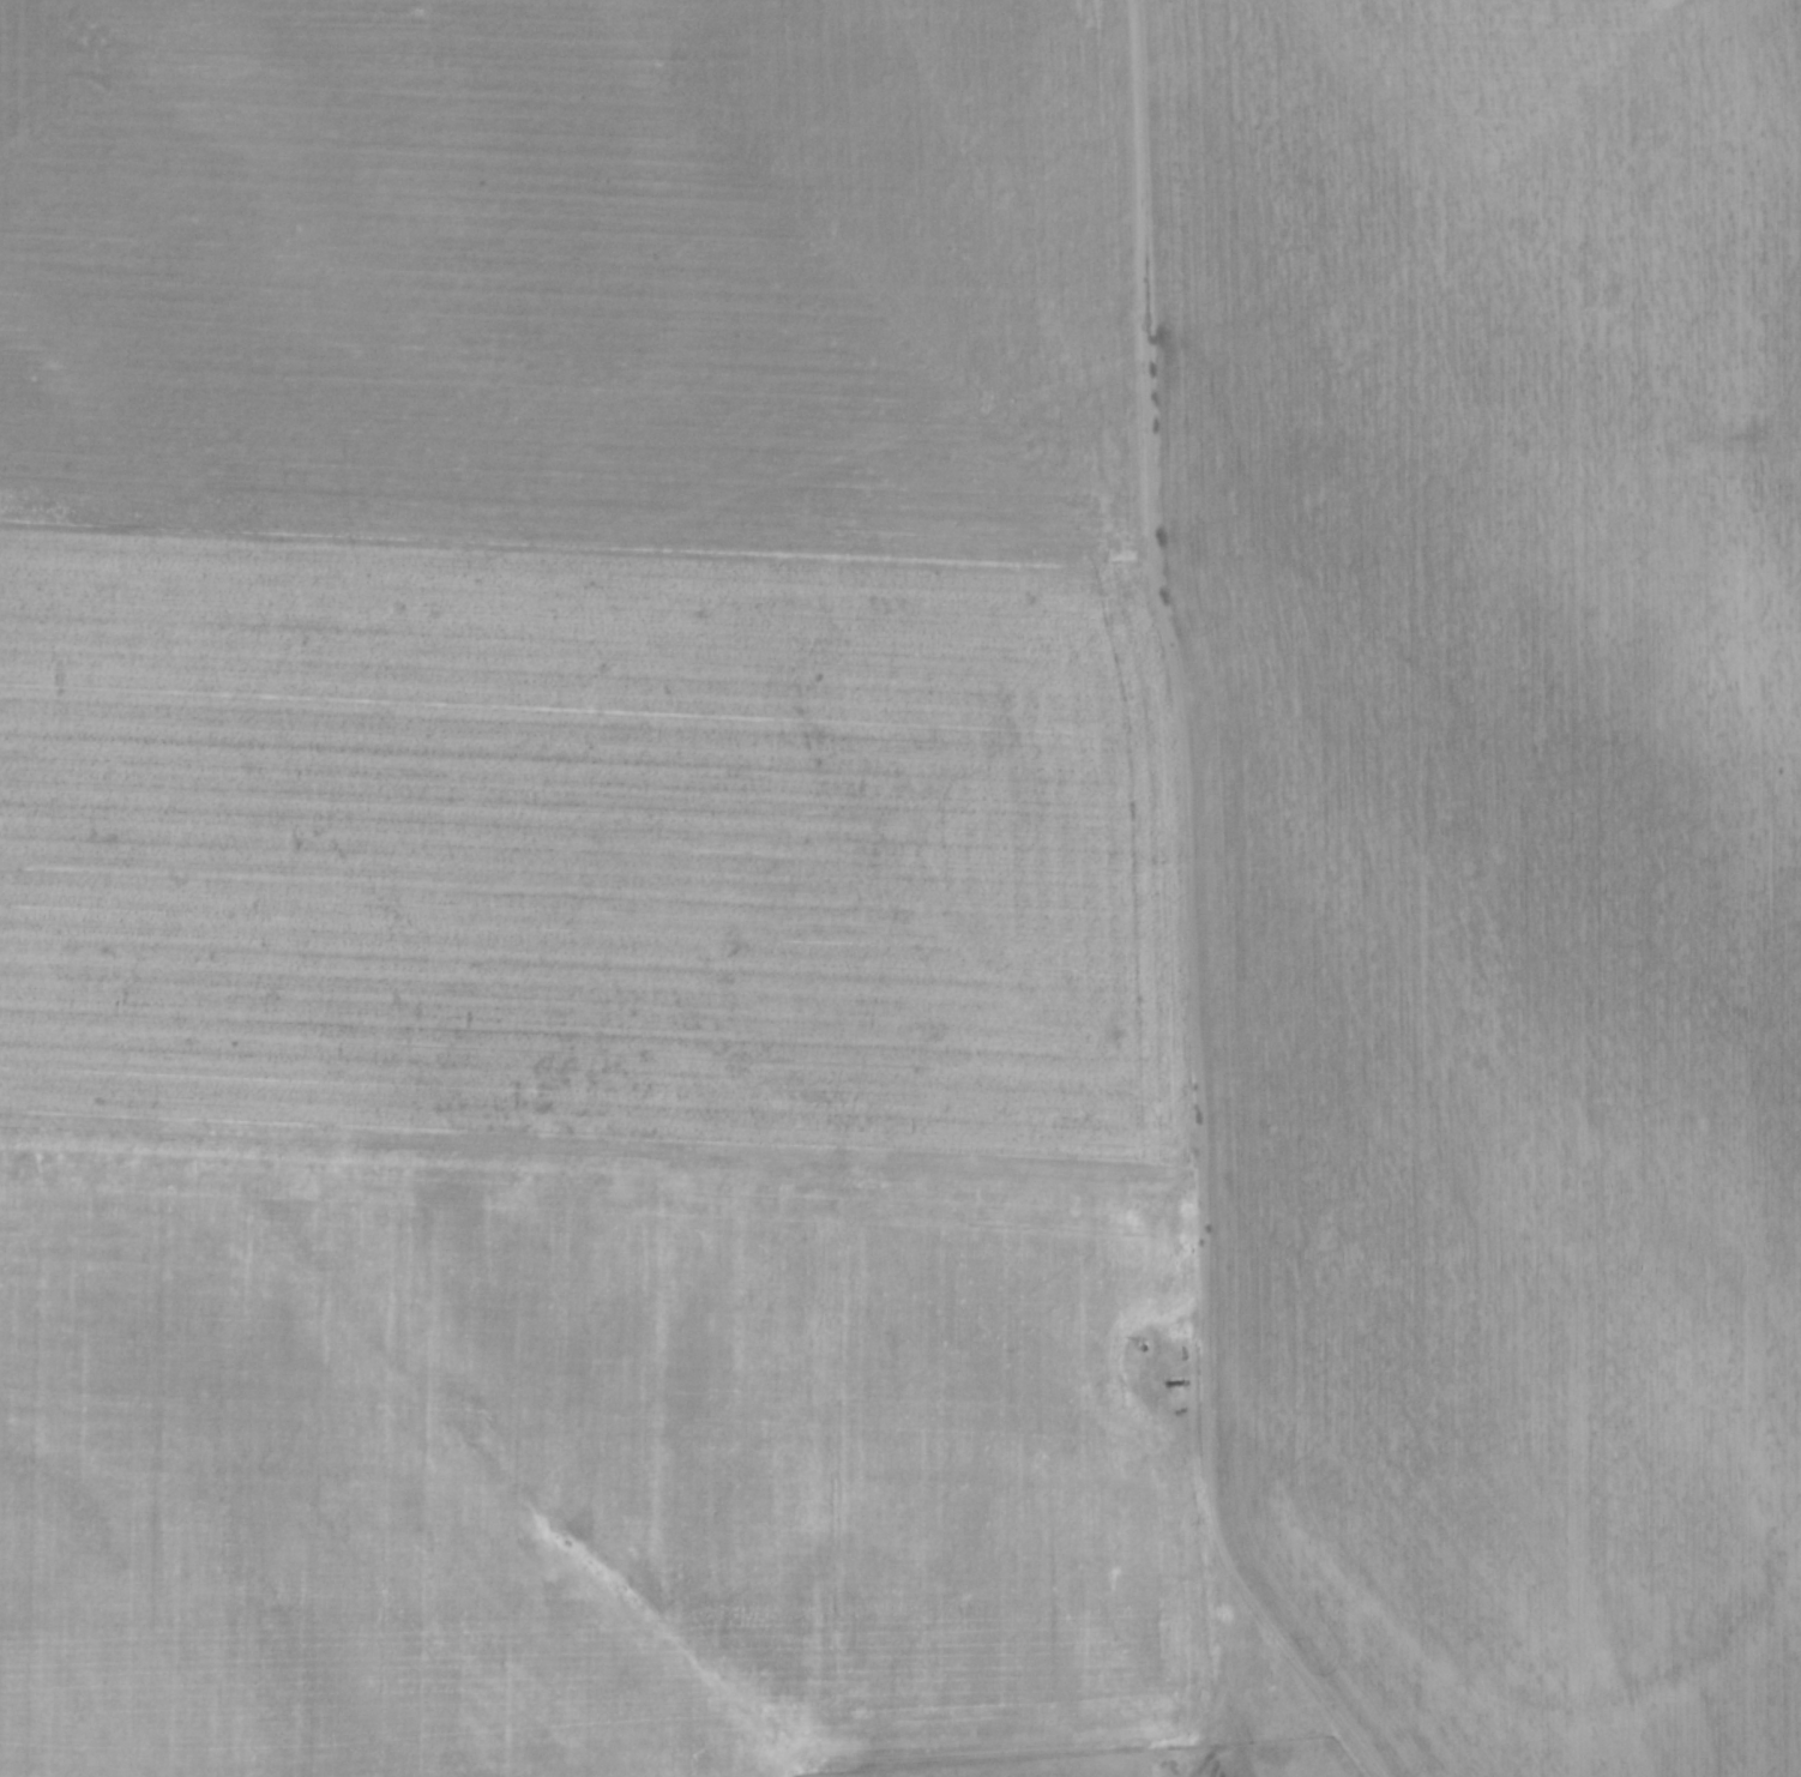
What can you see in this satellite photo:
crop: (895, 874)

